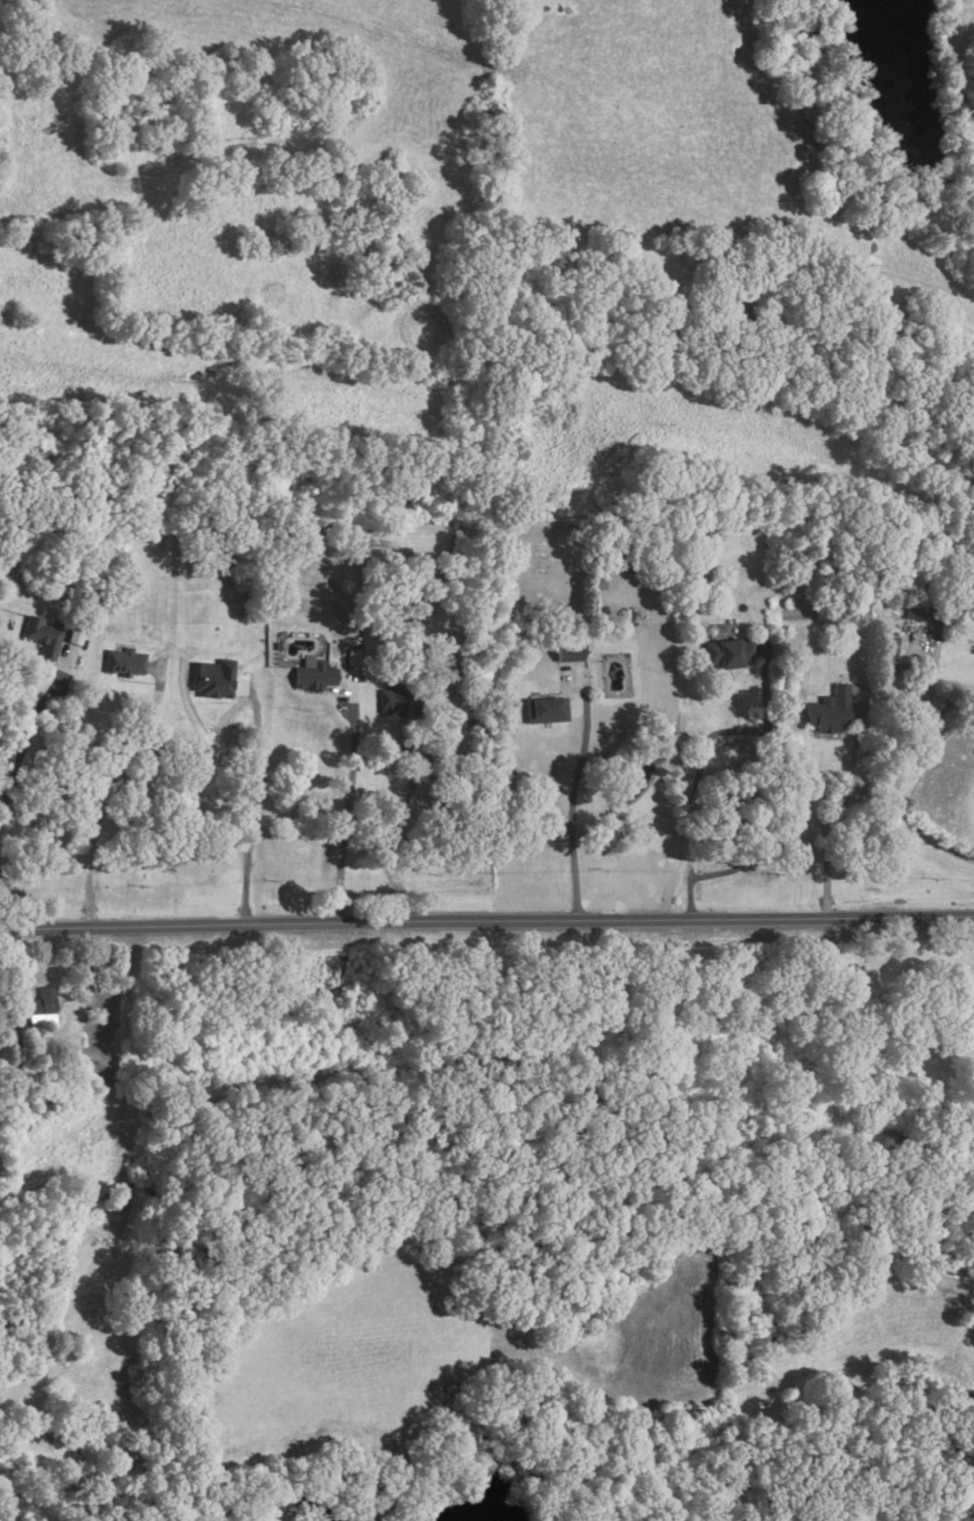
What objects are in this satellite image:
building: (604, 582)
building: (917, 612)
building: (41, 636)
building: (568, 652)
building: (728, 652)
building: (124, 661)
building: (312, 674)
building: (440, 677)
building: (212, 679)
building: (395, 700)
building: (545, 709)
building: (828, 711)
road: (23, 736)
road: (696, 765)
road: (902, 771)
road: (346, 804)
road: (835, 807)
road: (568, 814)
road: (97, 815)
road: (395, 815)
road: (759, 826)
road: (246, 831)
road: (25, 898)
road: (486, 921)
building: (40, 1005)

